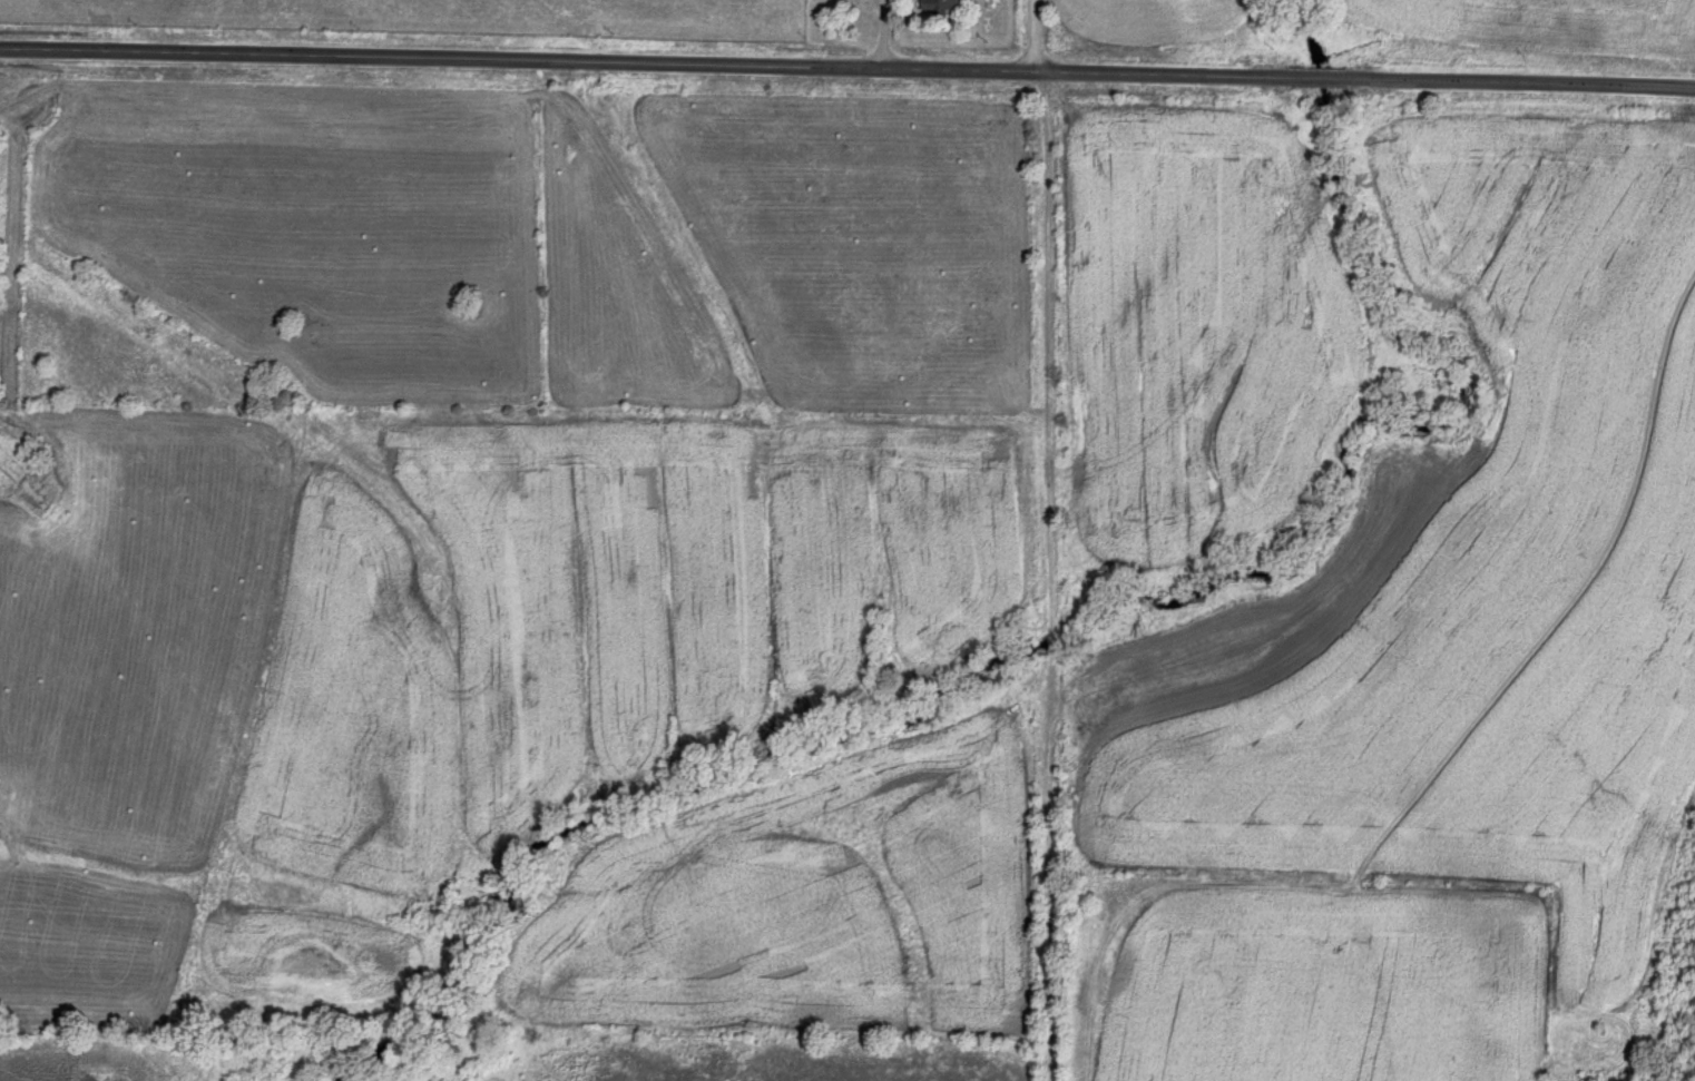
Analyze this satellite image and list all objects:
building: (934, 4)
road: (847, 66)
road: (1035, 540)

